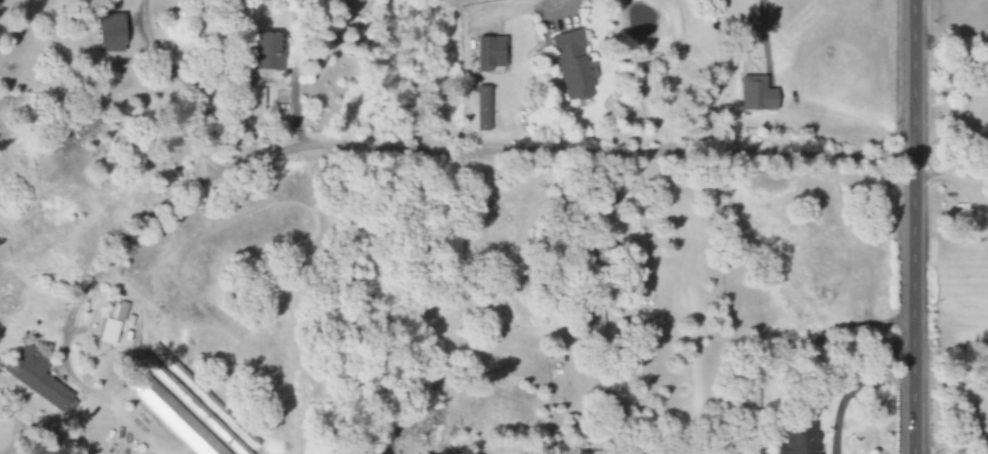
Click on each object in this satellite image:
building: (110, 32)
building: (270, 51)
building: (490, 53)
building: (574, 66)
building: (256, 102)
building: (483, 105)
road: (911, 227)
building: (112, 322)
building: (40, 379)
road: (849, 387)
building: (203, 394)
building: (195, 406)
building: (176, 417)
building: (801, 439)

